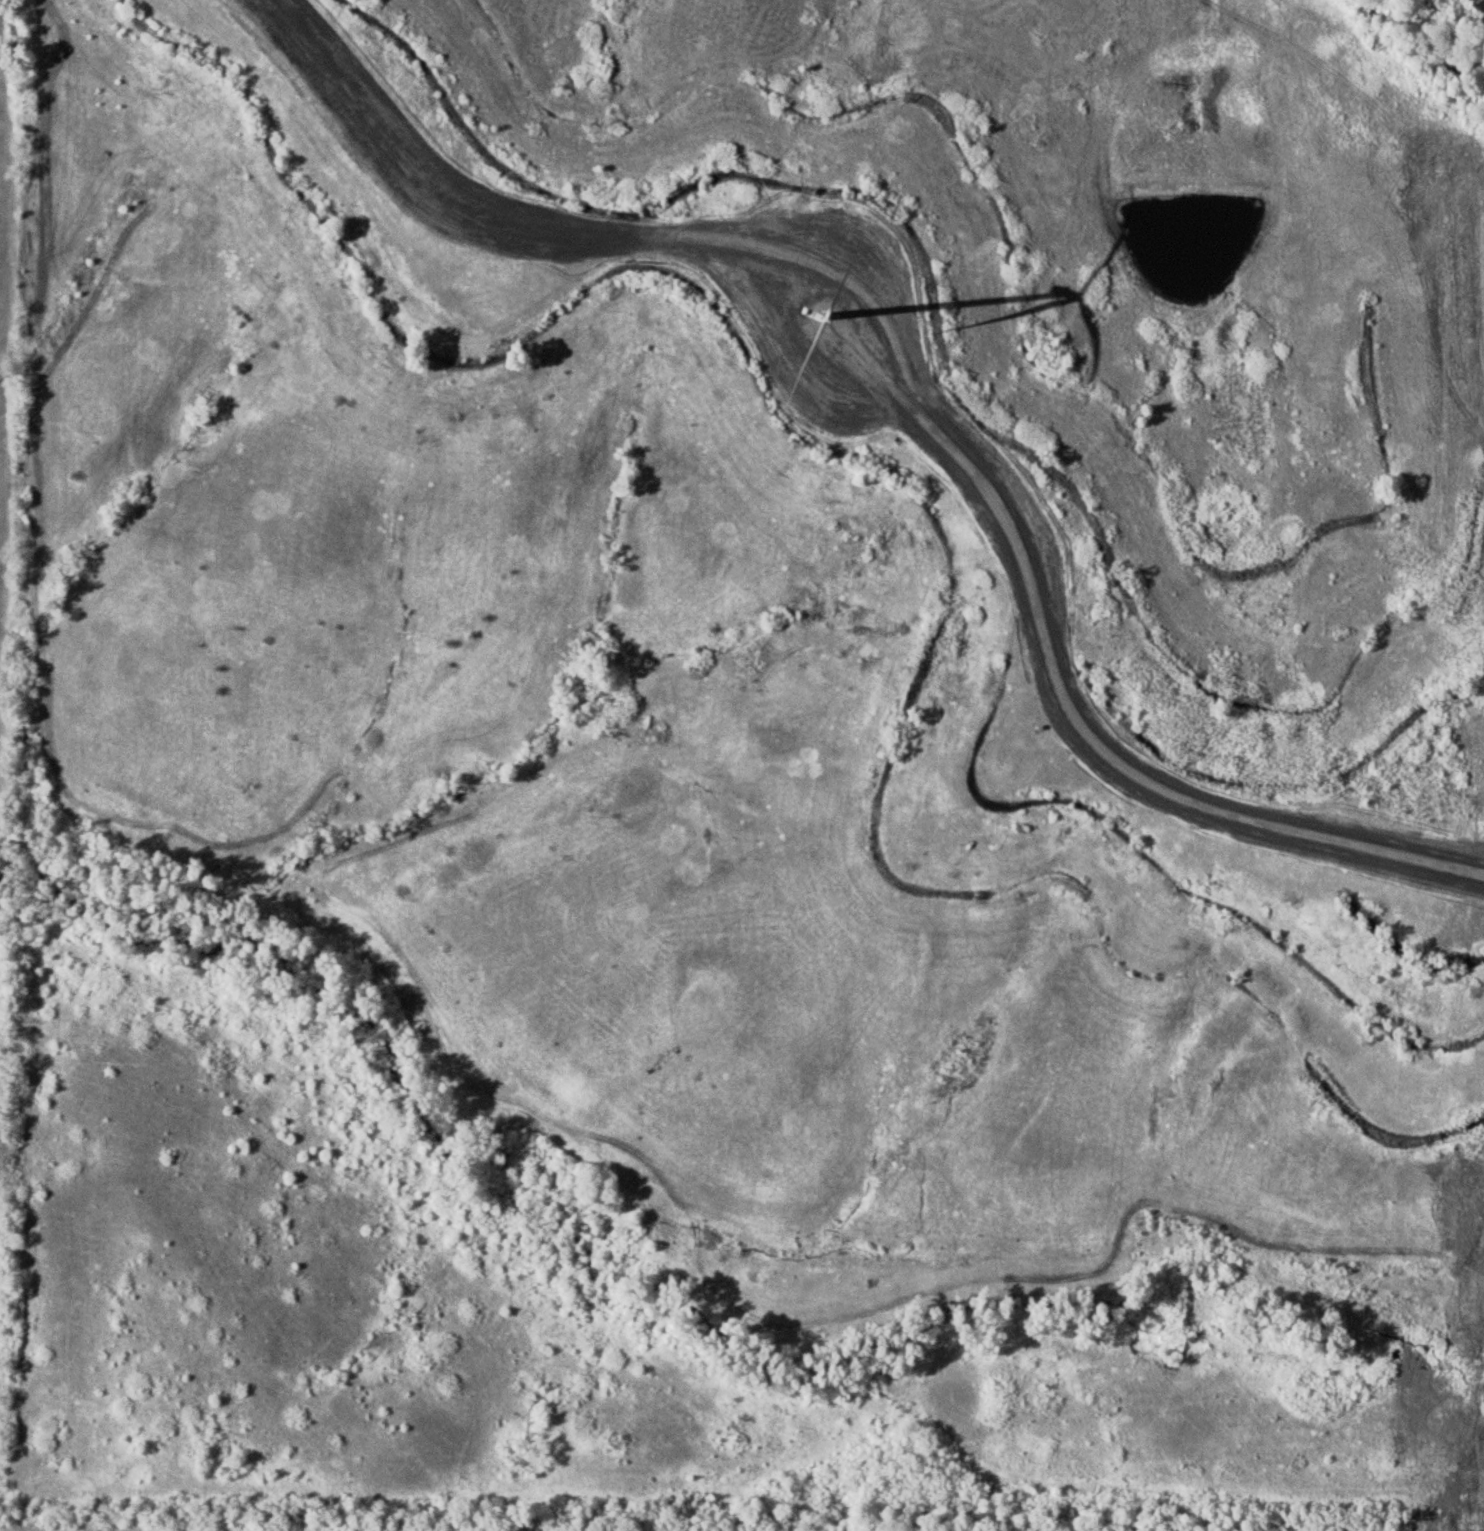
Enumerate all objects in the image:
wind turbine: (818, 315)

